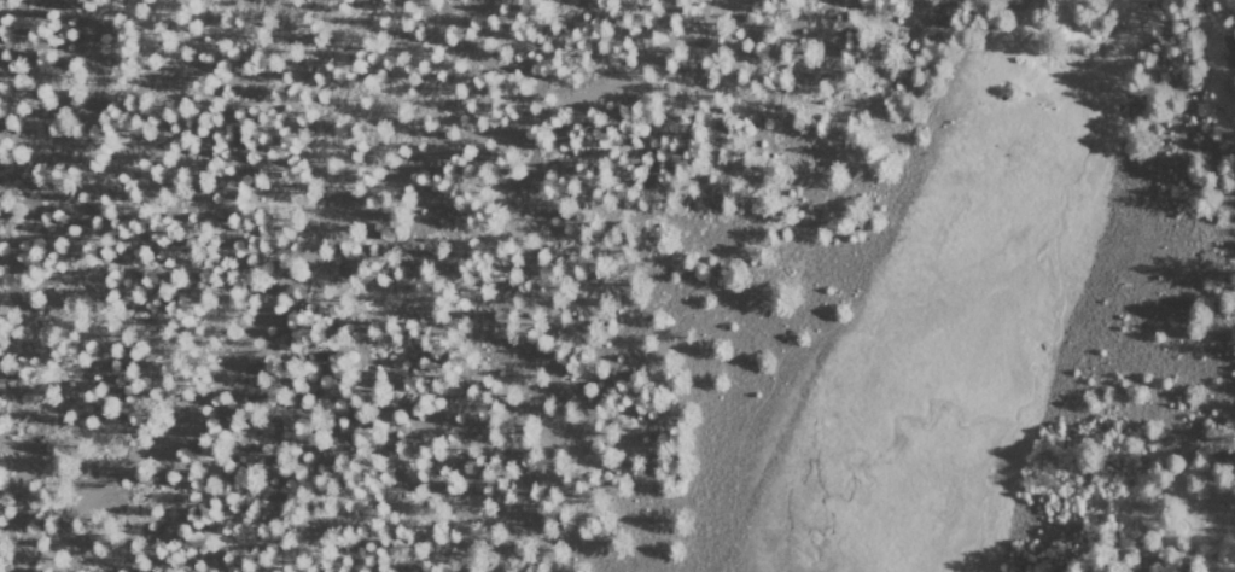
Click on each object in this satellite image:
road: (70, 157)
road: (851, 290)
road: (29, 498)

